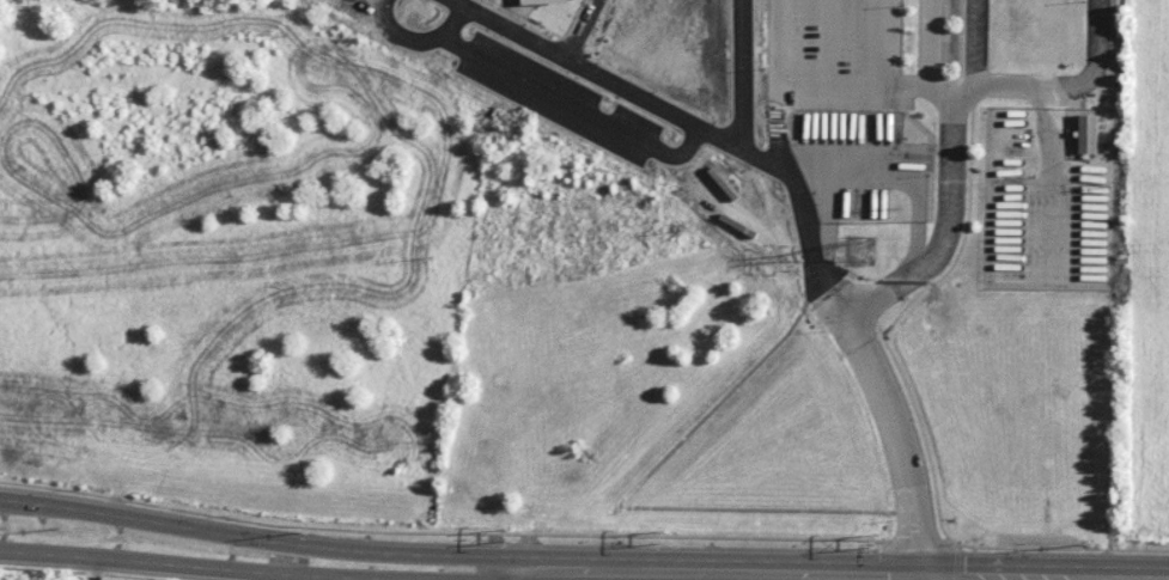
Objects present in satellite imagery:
road: (930, 43)
road: (852, 84)
building: (1088, 133)
road: (785, 149)
road: (948, 222)
power tower: (859, 252)
road: (895, 427)
power tower: (68, 526)
road: (190, 529)
power tower: (306, 531)
power tower: (512, 537)
power tower: (664, 538)
power tower: (875, 541)
road: (190, 567)
road: (93, 569)
road: (751, 573)
road: (504, 575)

